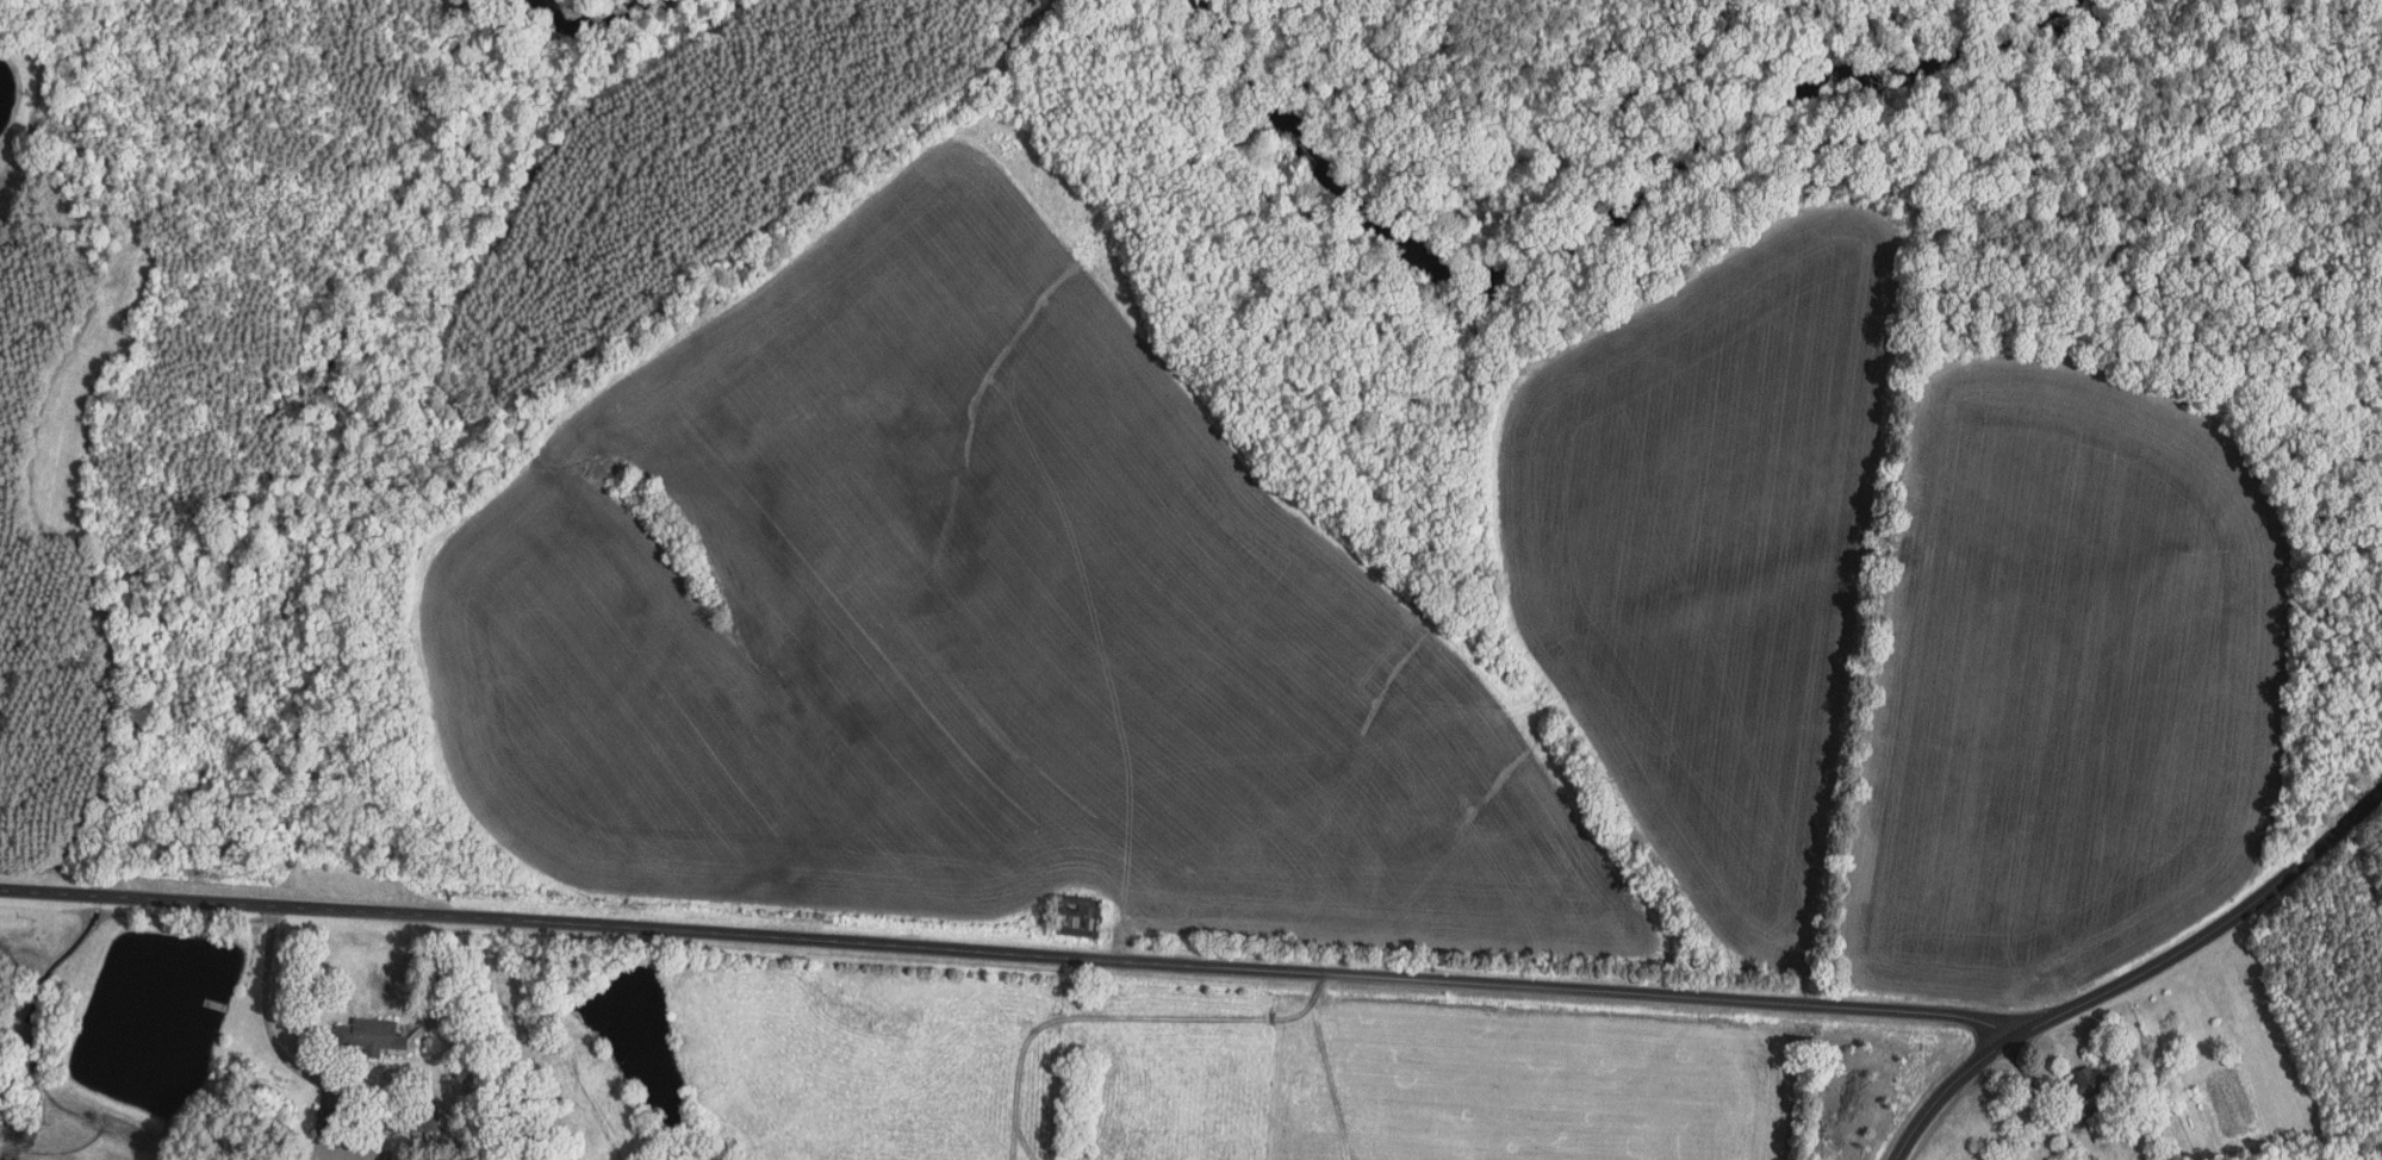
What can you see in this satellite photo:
building: (1080, 915)
road: (1018, 950)
road: (2135, 975)
road: (1314, 992)
road: (267, 1008)
road: (1117, 1016)
building: (372, 1034)
building: (2094, 1080)
building: (326, 1120)
road: (1014, 1141)
road: (1025, 1141)

